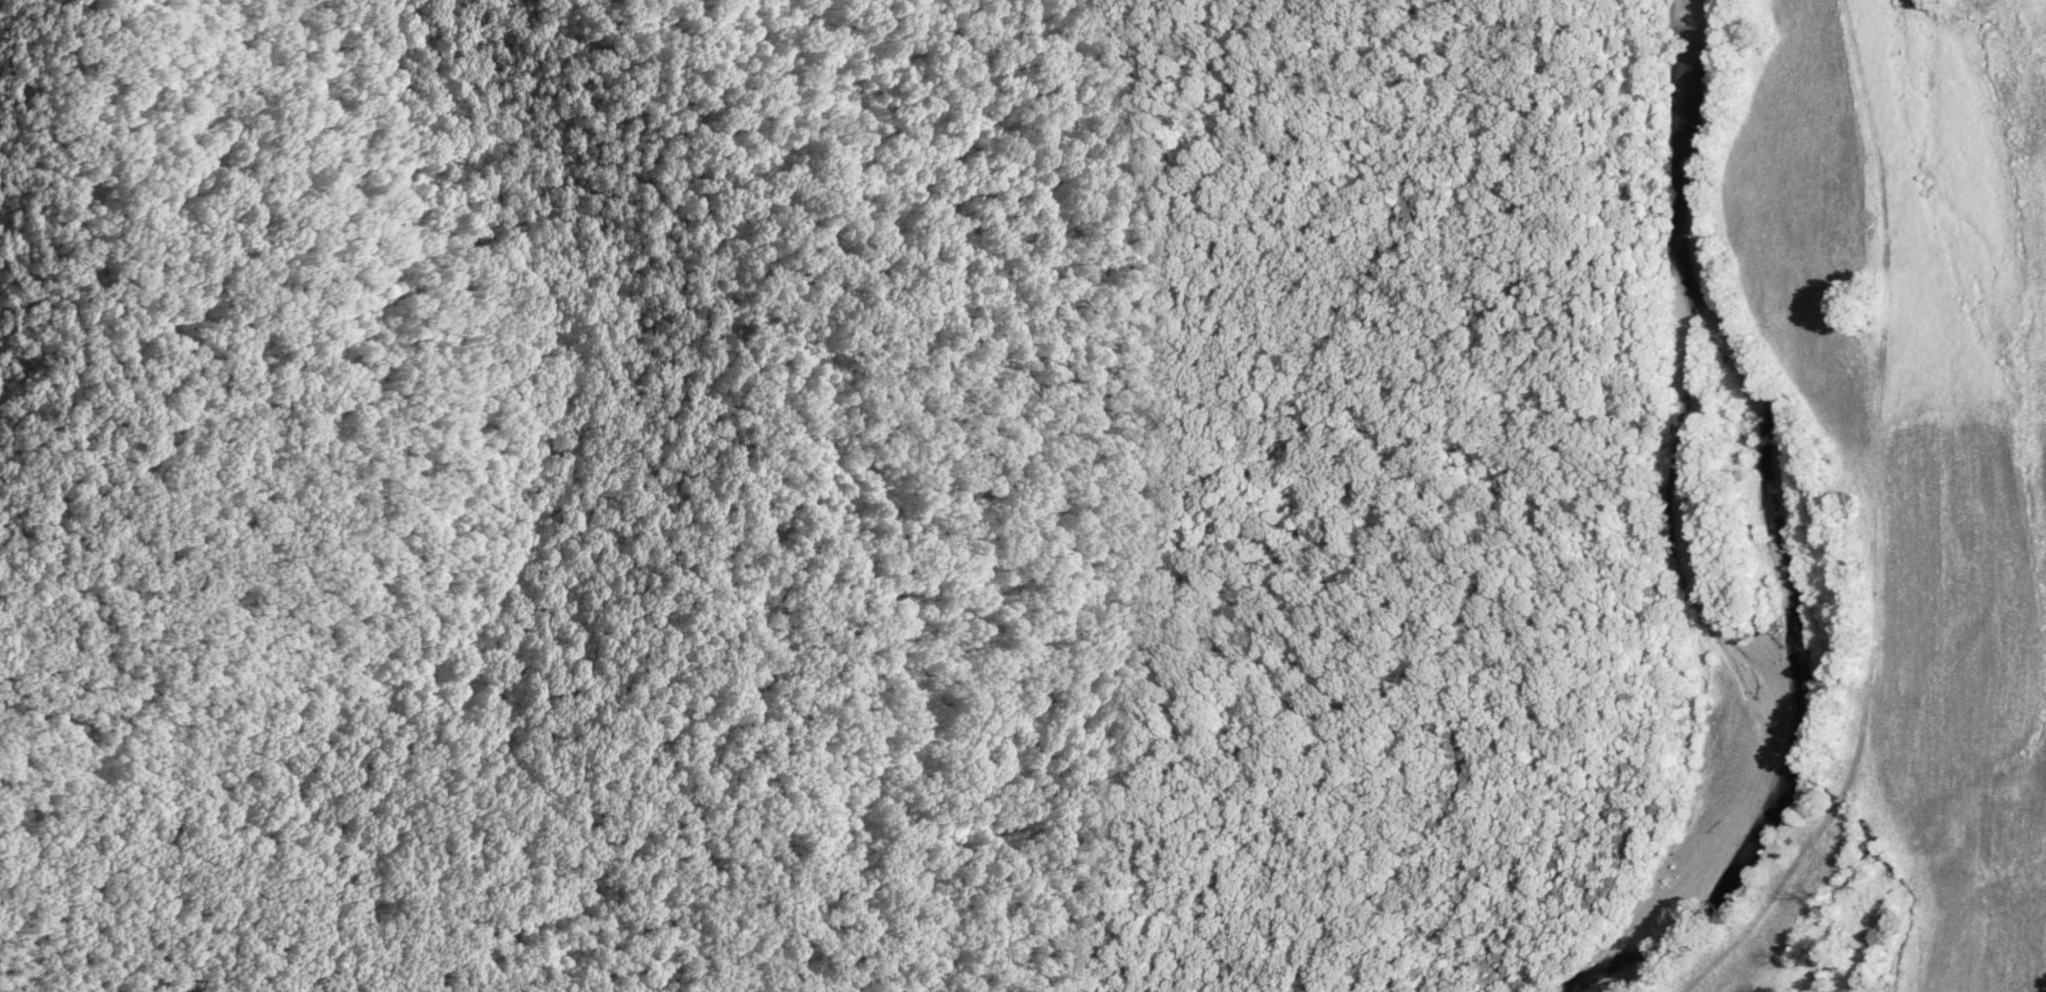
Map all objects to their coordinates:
river: (1780, 521)

